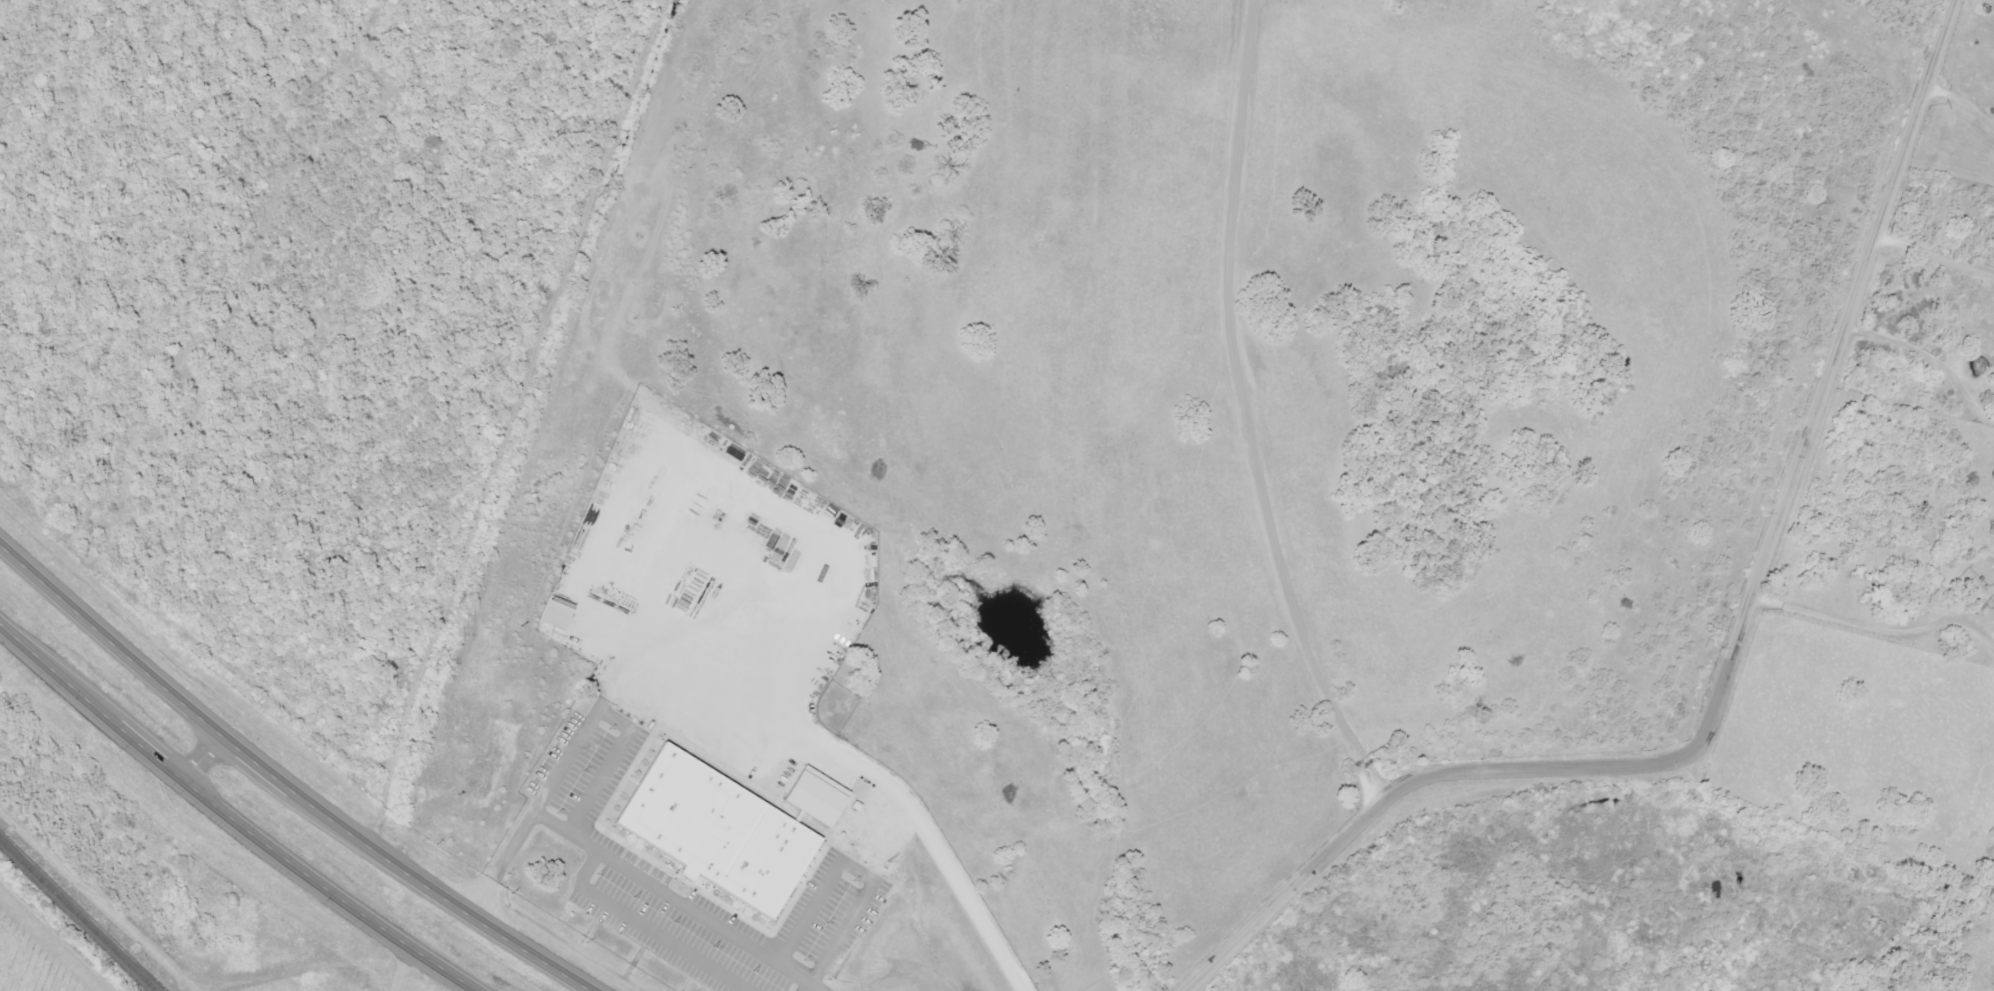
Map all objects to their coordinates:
road: (1361, 400)
road: (1885, 411)
road: (522, 488)
building: (555, 615)
road: (1731, 660)
road: (202, 757)
road: (288, 786)
building: (814, 795)
road: (227, 815)
building: (716, 831)
railway: (77, 916)

